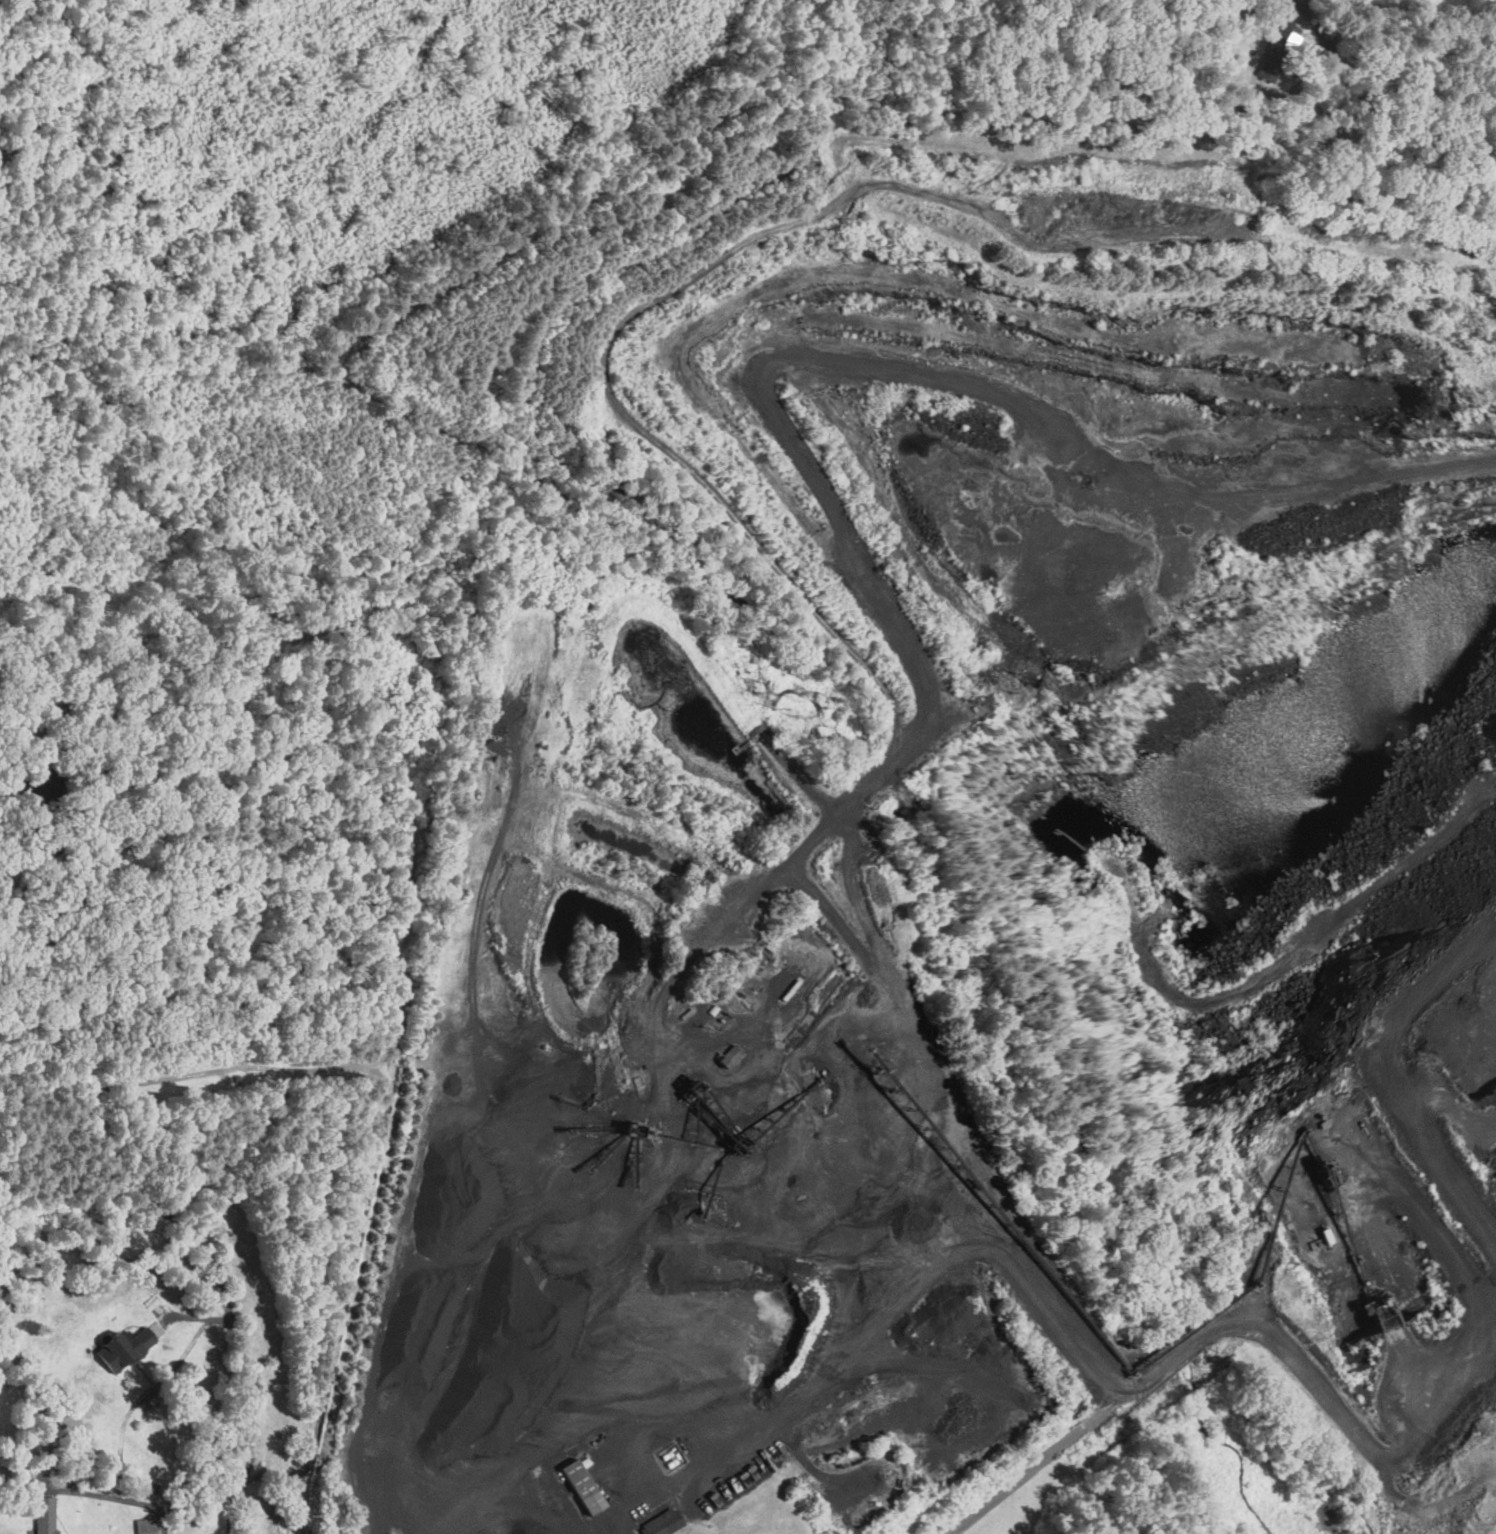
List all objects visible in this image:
building: (1285, 36)
quarry: (964, 852)
building: (725, 1057)
road: (1424, 1107)
road: (131, 1165)
building: (118, 1347)
road: (1289, 1359)
road: (130, 1399)
road: (761, 1401)
road: (1039, 1462)
road: (626, 1477)
building: (575, 1487)
road: (188, 1498)
building: (43, 1515)
building: (659, 1523)

